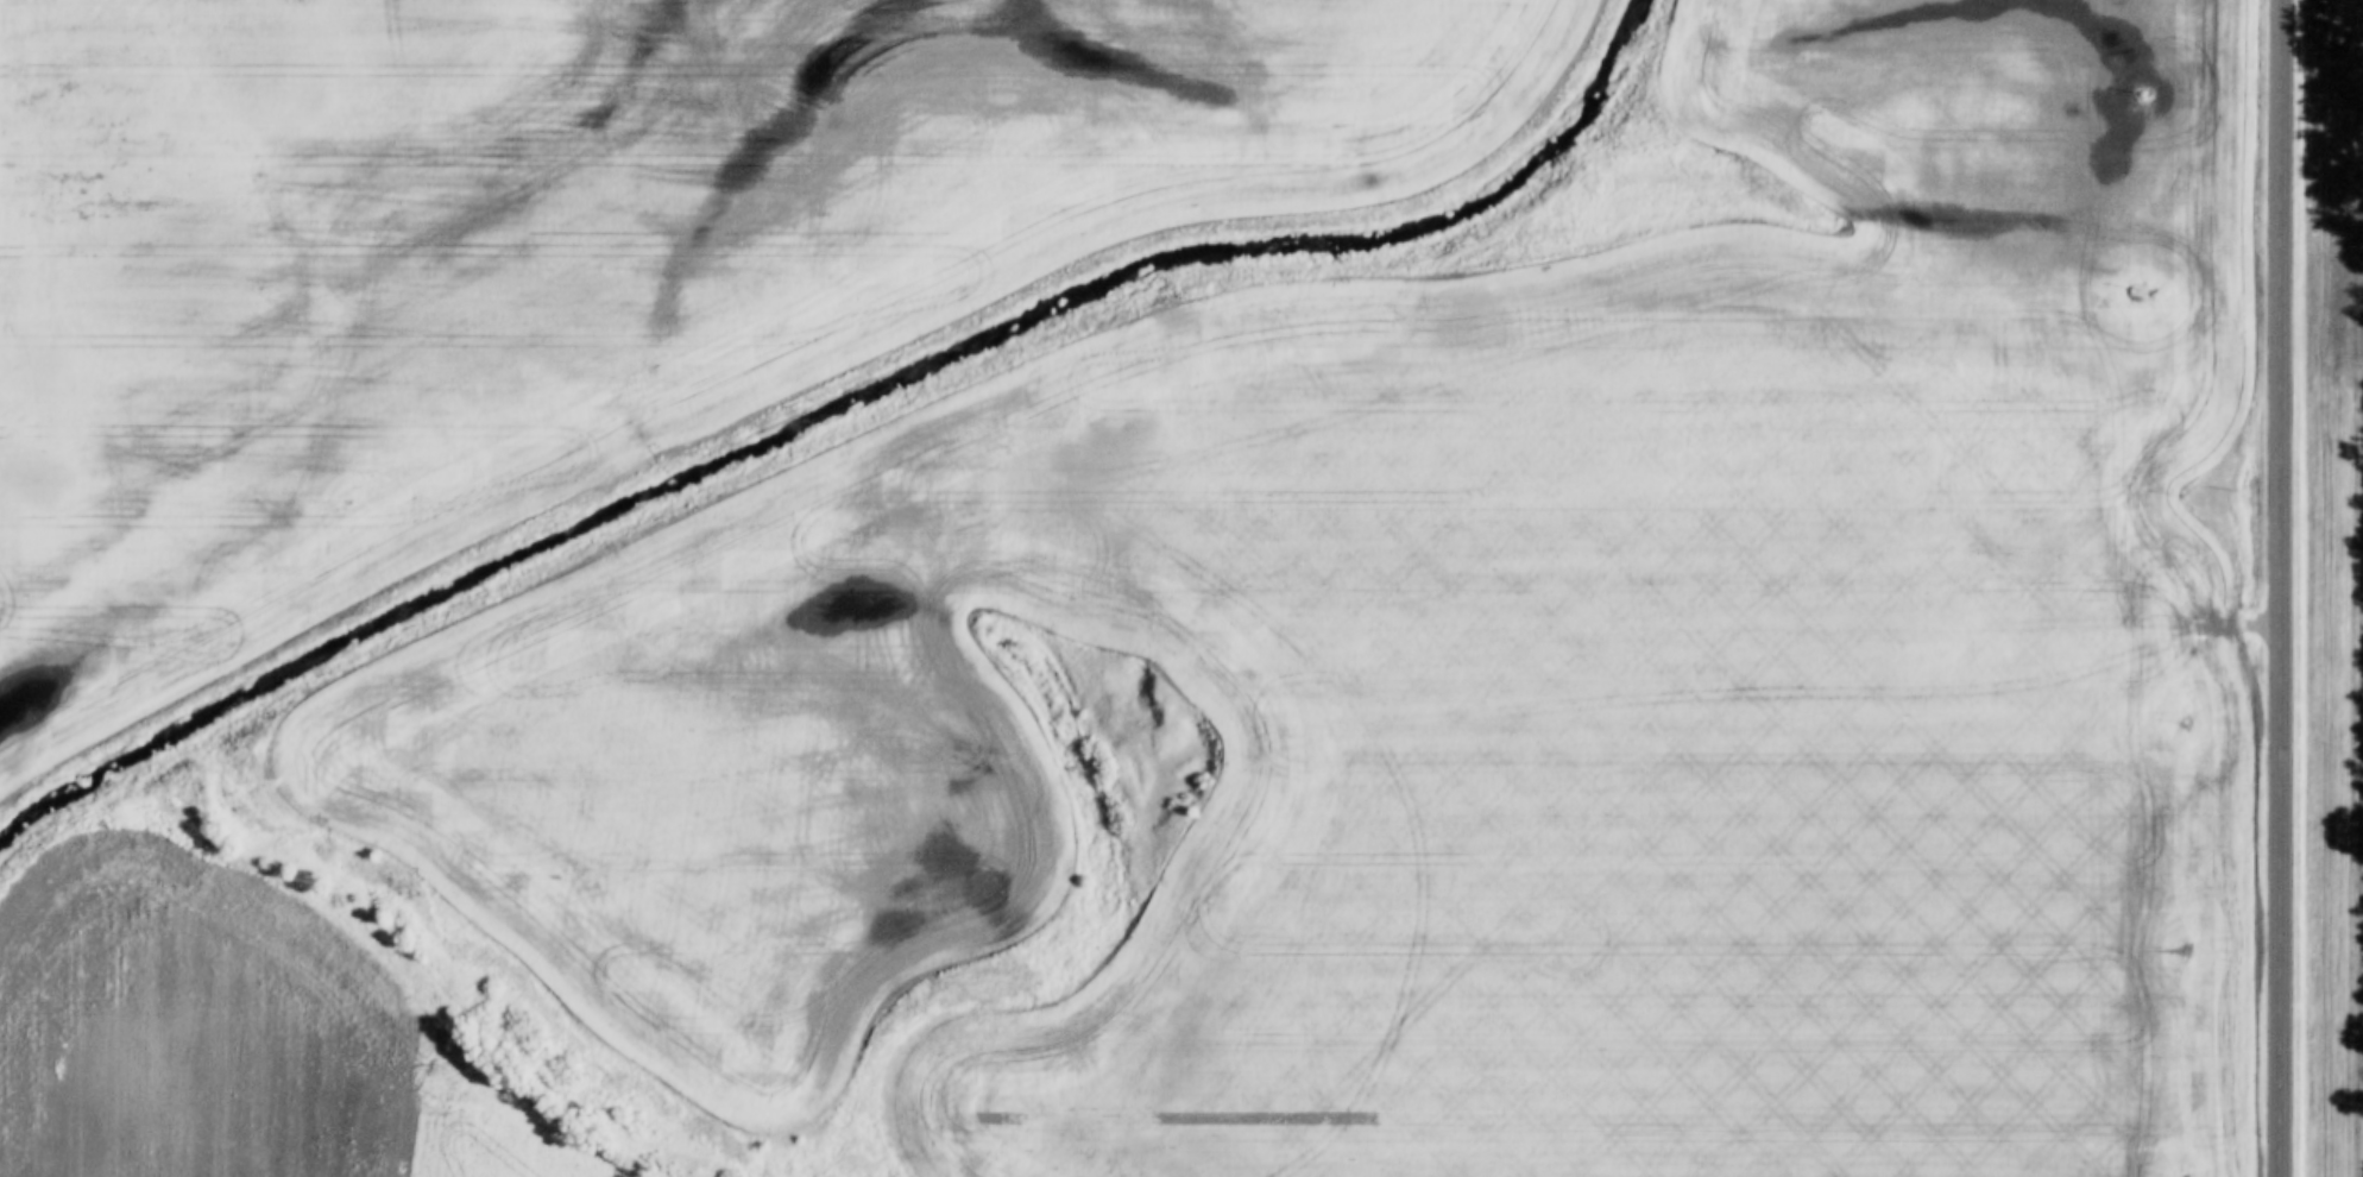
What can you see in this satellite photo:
road: (2277, 588)

